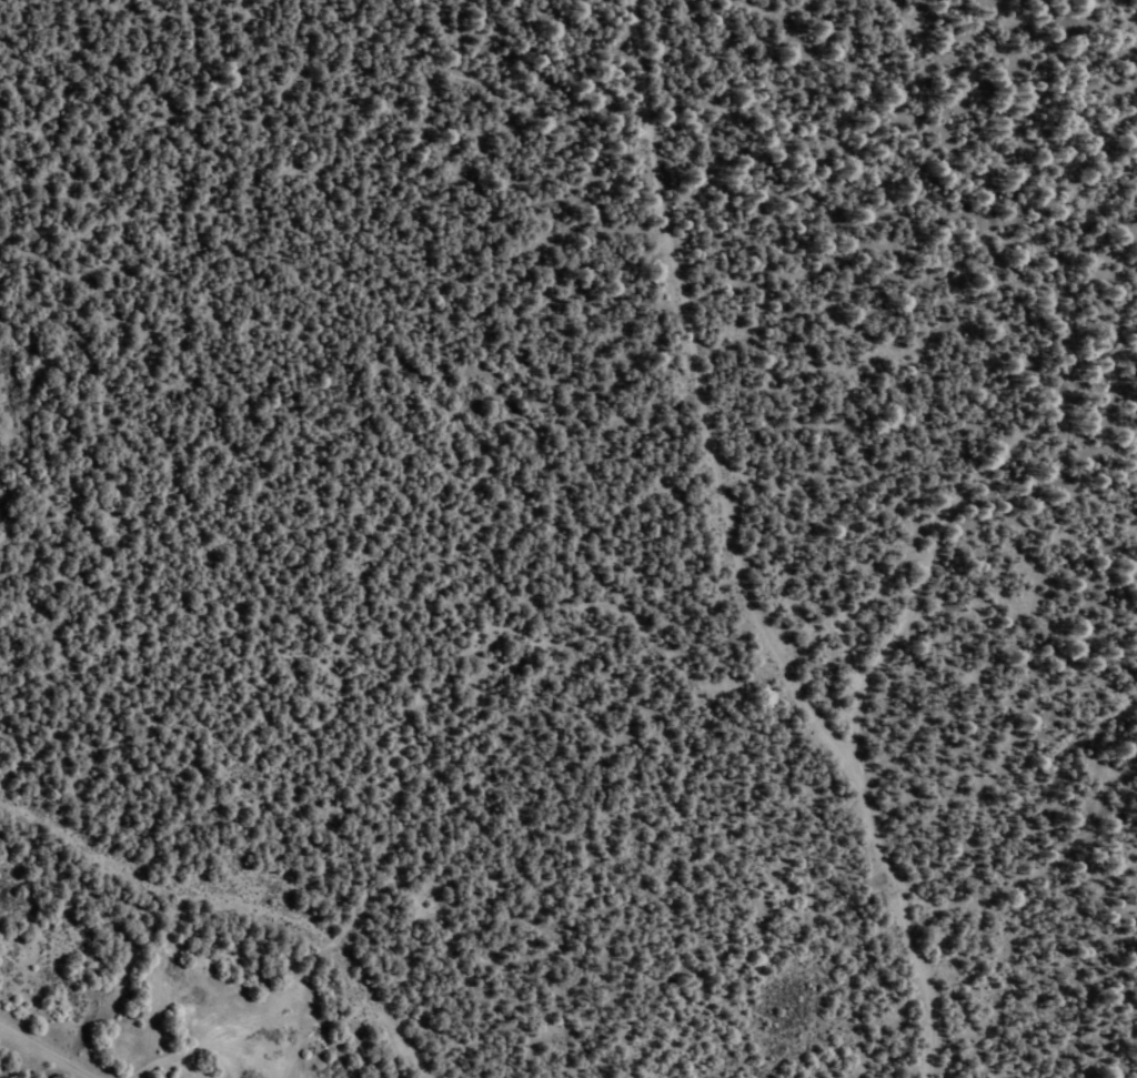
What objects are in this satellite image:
road: (497, 124)
road: (309, 444)
road: (977, 510)
road: (739, 555)
road: (234, 915)
road: (24, 1061)

